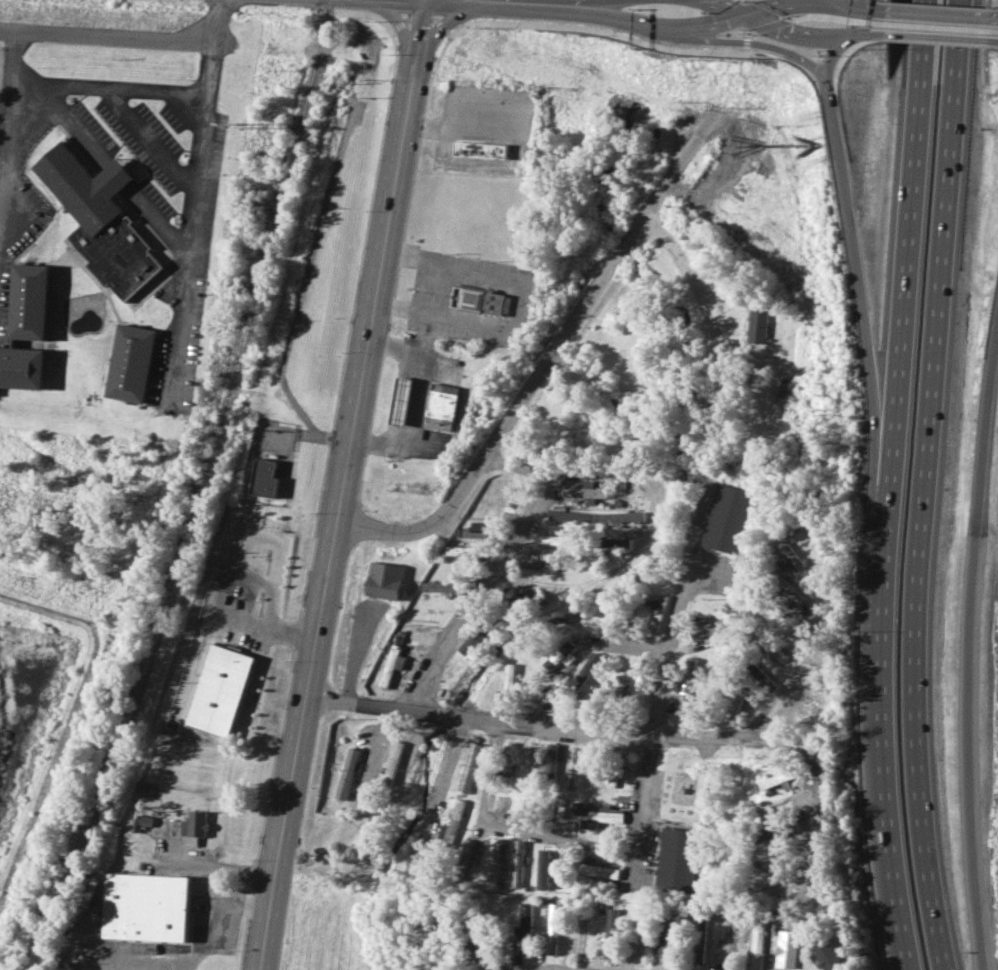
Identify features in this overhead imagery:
road: (558, 1)
road: (587, 1)
road: (838, 3)
road: (792, 4)
road: (863, 8)
road: (937, 14)
traffic signals: (744, 16)
road: (994, 17)
street lamp: (367, 22)
road: (442, 22)
road: (660, 27)
road: (777, 28)
road: (397, 30)
street lamp: (485, 33)
road: (122, 34)
road: (416, 34)
road: (868, 34)
road: (935, 37)
road: (993, 41)
road: (757, 44)
street lamp: (865, 50)
river: (636, 51)
street lamp: (680, 54)
road: (833, 55)
street lamp: (759, 57)
street lamp: (439, 68)
road: (108, 87)
street lamp: (811, 90)
road: (8, 105)
road: (75, 124)
road: (147, 142)
building: (483, 153)
river: (604, 168)
road: (117, 175)
road: (192, 207)
building: (100, 218)
road: (157, 220)
river: (623, 255)
road: (901, 265)
building: (481, 301)
road: (519, 304)
road: (858, 306)
building: (756, 326)
building: (26, 328)
road: (430, 333)
road: (546, 360)
building: (130, 364)
road: (419, 398)
building: (401, 401)
building: (442, 406)
road: (618, 473)
building: (264, 477)
road: (920, 485)
building: (581, 488)
railway: (200, 491)
building: (570, 516)
building: (623, 516)
road: (338, 519)
building: (726, 519)
building: (553, 539)
building: (618, 542)
road: (281, 544)
building: (465, 551)
building: (788, 554)
building: (538, 562)
road: (501, 563)
building: (384, 579)
building: (442, 586)
building: (790, 592)
building: (515, 595)
building: (656, 613)
building: (702, 626)
river: (584, 633)
road: (967, 639)
building: (469, 644)
building: (770, 645)
building: (560, 656)
road: (662, 659)
road: (875, 663)
building: (391, 664)
building: (587, 669)
building: (757, 672)
building: (686, 682)
building: (508, 683)
building: (618, 685)
building: (639, 687)
building: (219, 690)
building: (547, 698)
building: (734, 707)
road: (523, 719)
road: (752, 739)
building: (551, 760)
building: (394, 762)
building: (528, 762)
building: (507, 766)
building: (470, 767)
building: (571, 767)
building: (346, 773)
building: (777, 780)
road: (638, 804)
building: (504, 805)
building: (775, 805)
building: (593, 813)
building: (141, 821)
building: (452, 824)
building: (196, 826)
road: (507, 827)
building: (773, 832)
building: (469, 851)
building: (768, 859)
building: (493, 860)
building: (676, 860)
building: (517, 863)
road: (219, 866)
building: (542, 868)
building: (593, 868)
road: (885, 883)
building: (773, 885)
building: (145, 906)
road: (219, 923)
building: (525, 926)
building: (552, 928)
building: (611, 933)
building: (667, 939)
building: (756, 948)
building: (786, 948)
building: (825, 953)
road: (116, 966)

